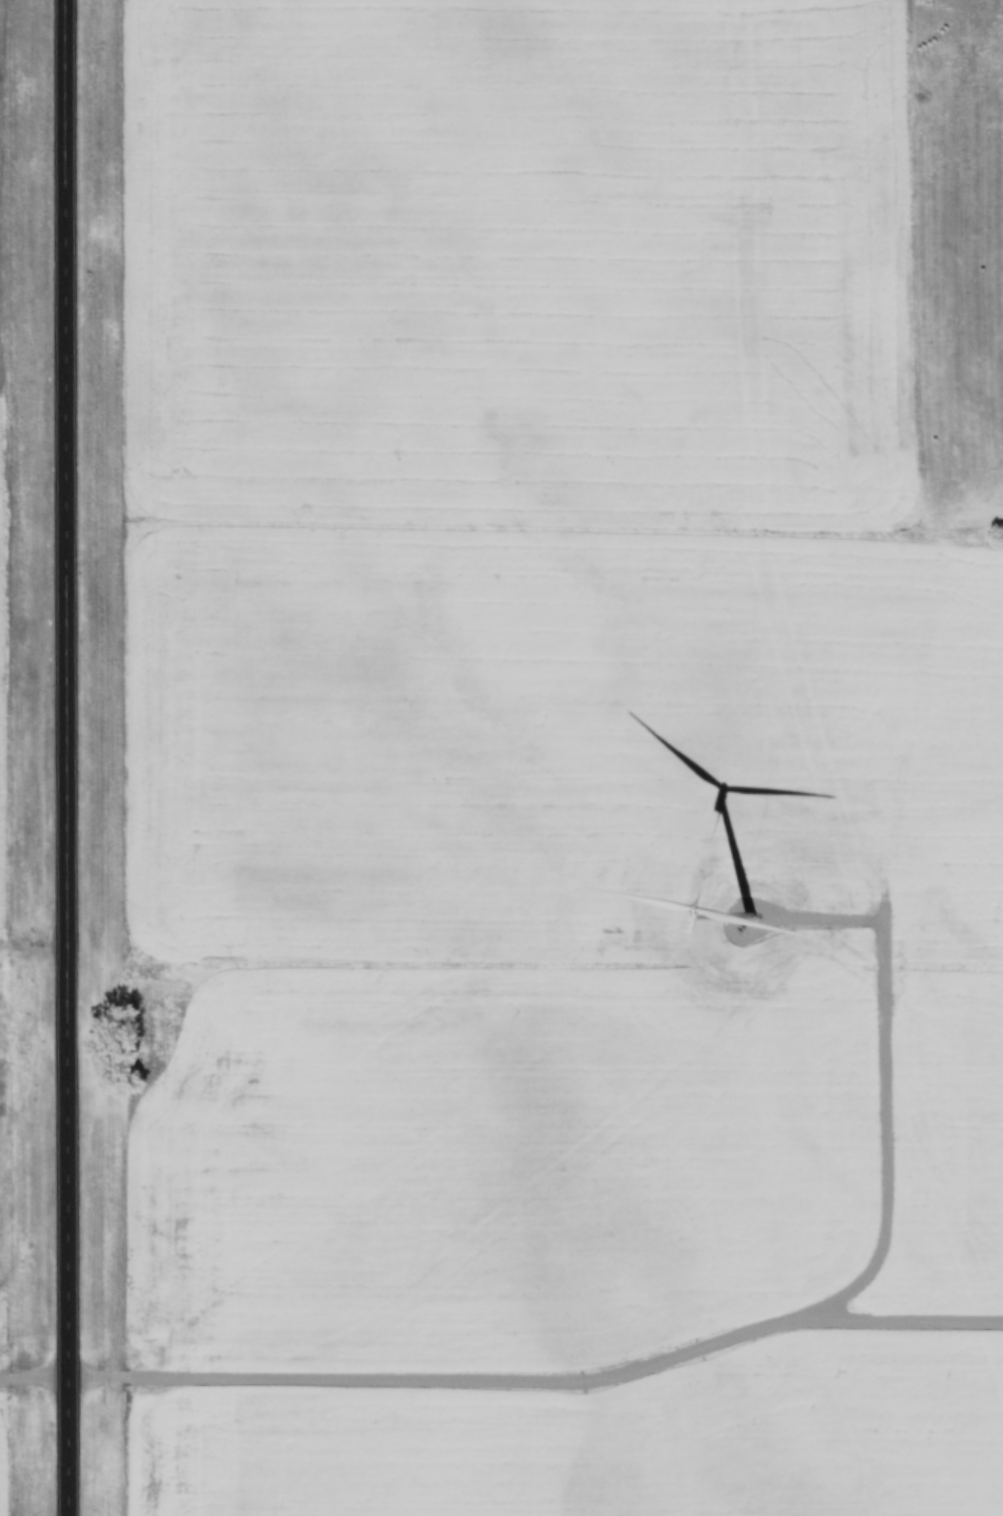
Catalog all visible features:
road: (71, 757)
wind turbine: (763, 931)
road: (884, 1138)
road: (508, 1384)

